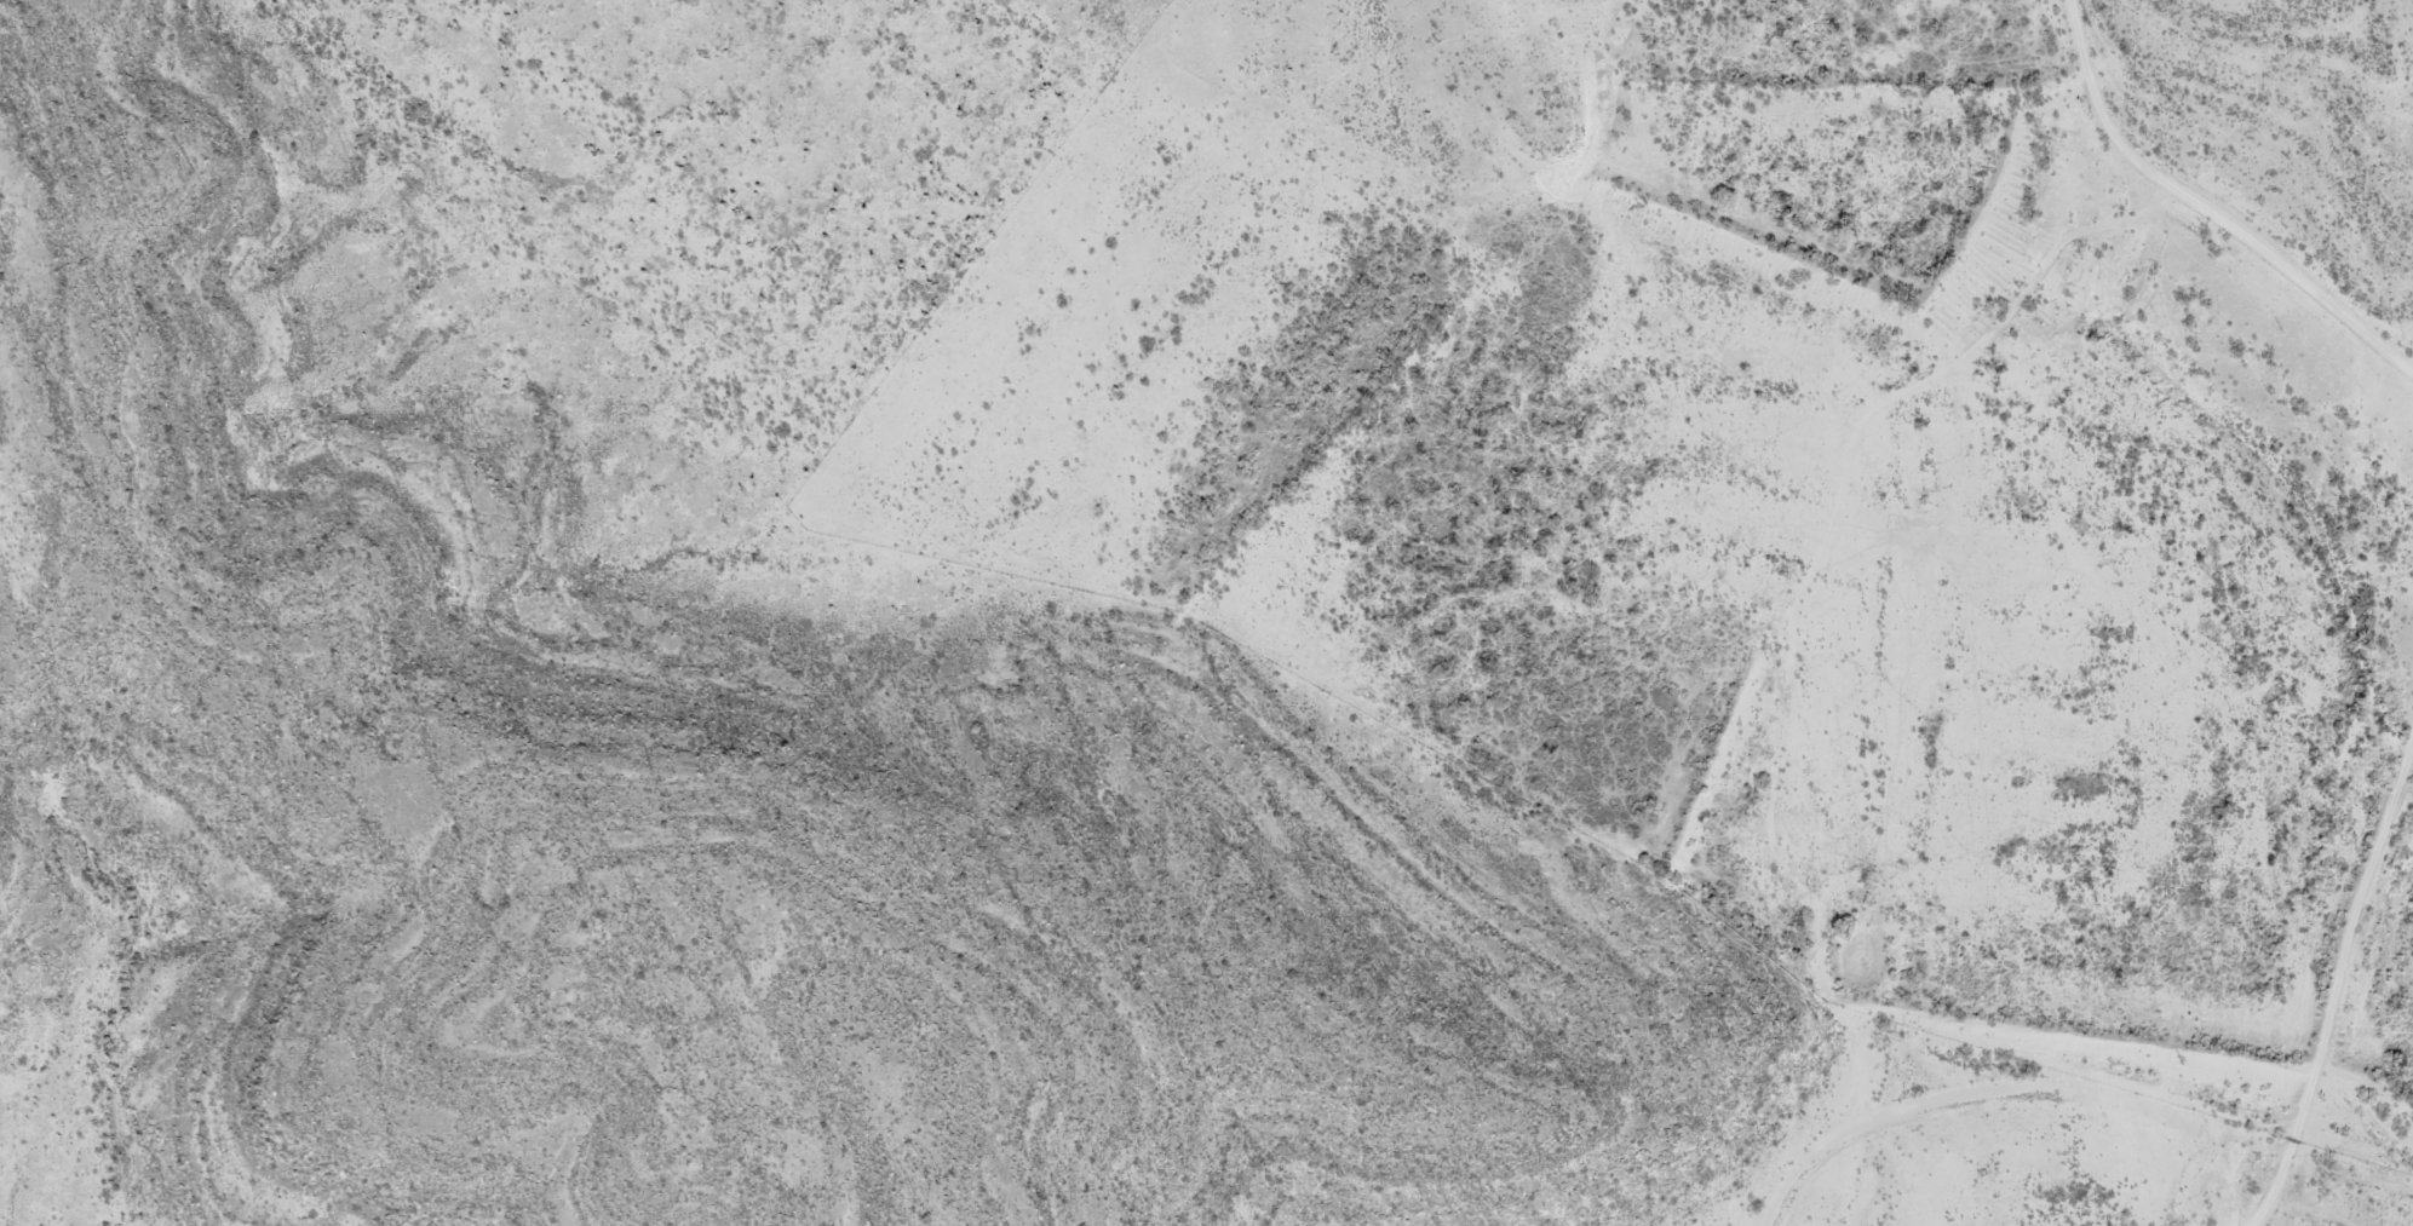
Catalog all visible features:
road: (2234, 185)
road: (2188, 1083)
road: (2174, 1155)

